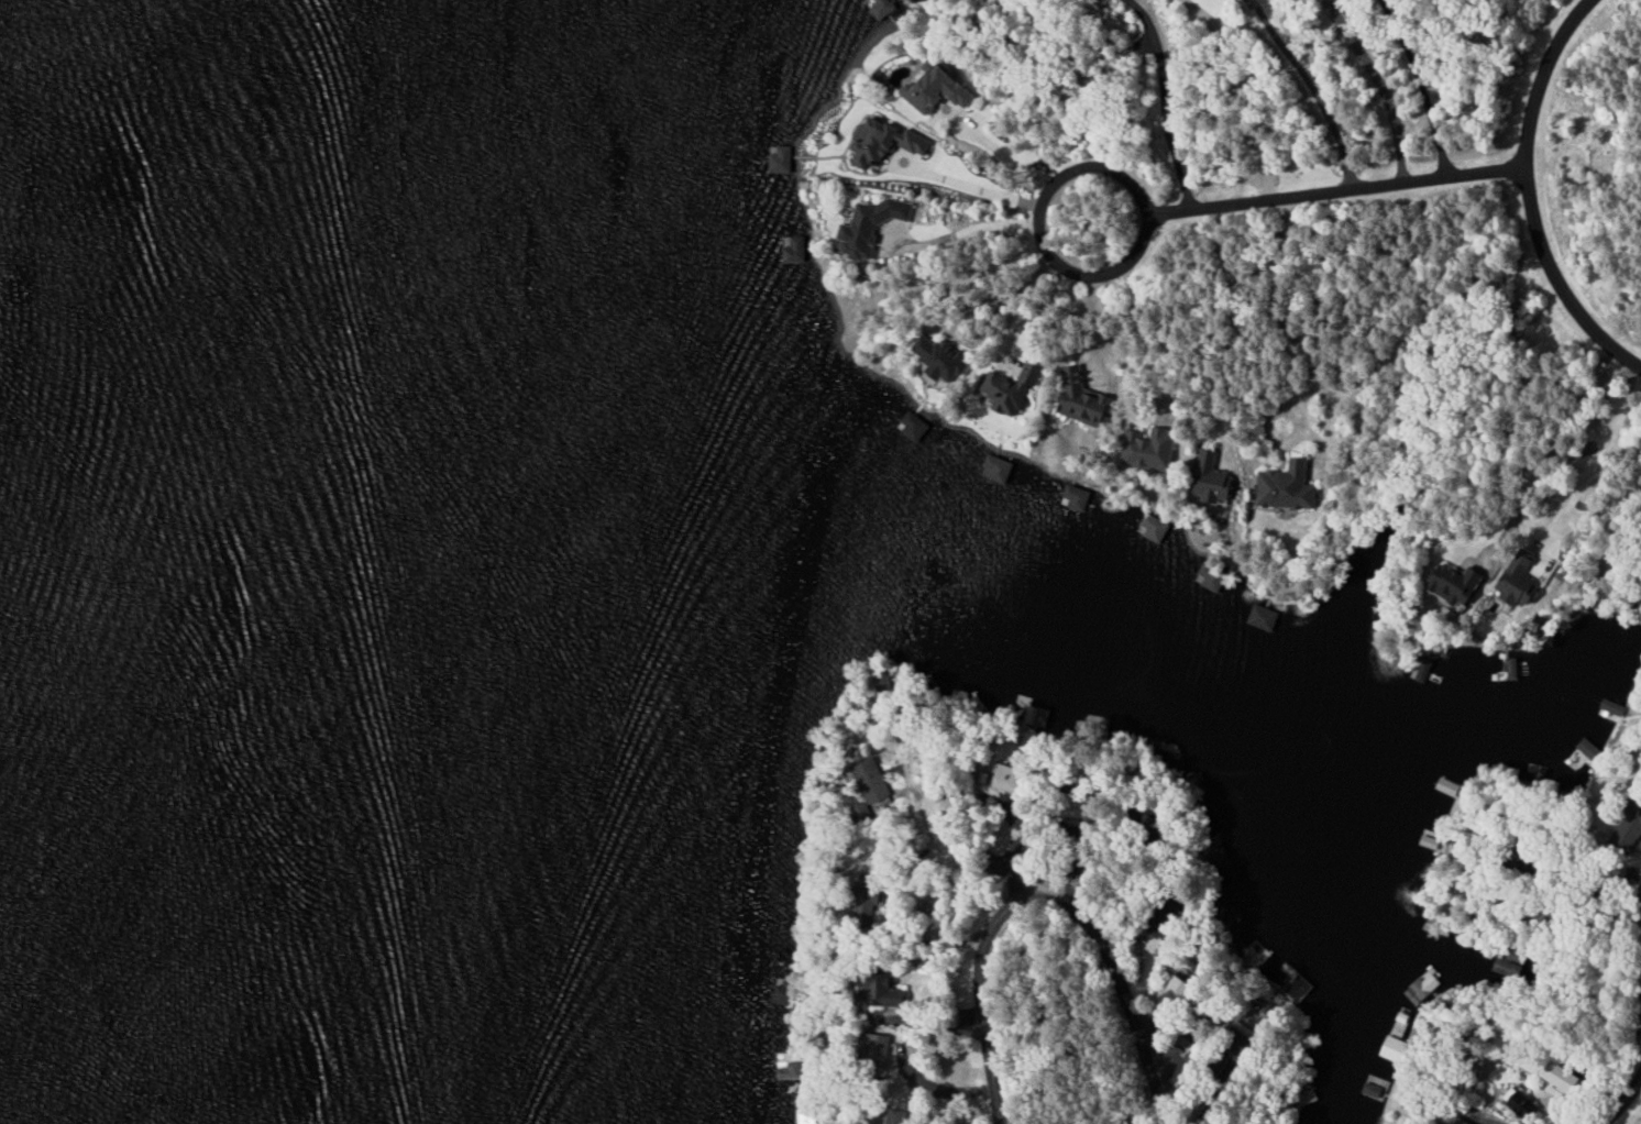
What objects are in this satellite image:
building: (881, 7)
road: (1313, 88)
building: (939, 89)
road: (1164, 103)
building: (885, 143)
building: (782, 158)
road: (1529, 195)
road: (1171, 214)
building: (871, 224)
building: (795, 249)
building: (943, 356)
building: (1012, 387)
building: (1086, 398)
building: (915, 425)
building: (1150, 447)
road: (1592, 465)
building: (998, 467)
building: (1215, 480)
building: (1296, 485)
building: (1076, 497)
building: (1155, 527)
building: (1213, 575)
building: (1521, 580)
building: (1461, 583)
building: (1614, 707)
building: (1584, 754)
building: (1012, 778)
building: (1451, 786)
road: (1045, 897)
building: (1424, 987)
building: (782, 990)
building: (884, 998)
building: (1395, 1048)
building: (1557, 1076)
building: (1374, 1089)
building: (1520, 1099)
road: (1623, 1102)
building: (805, 1115)
building: (1464, 1122)

